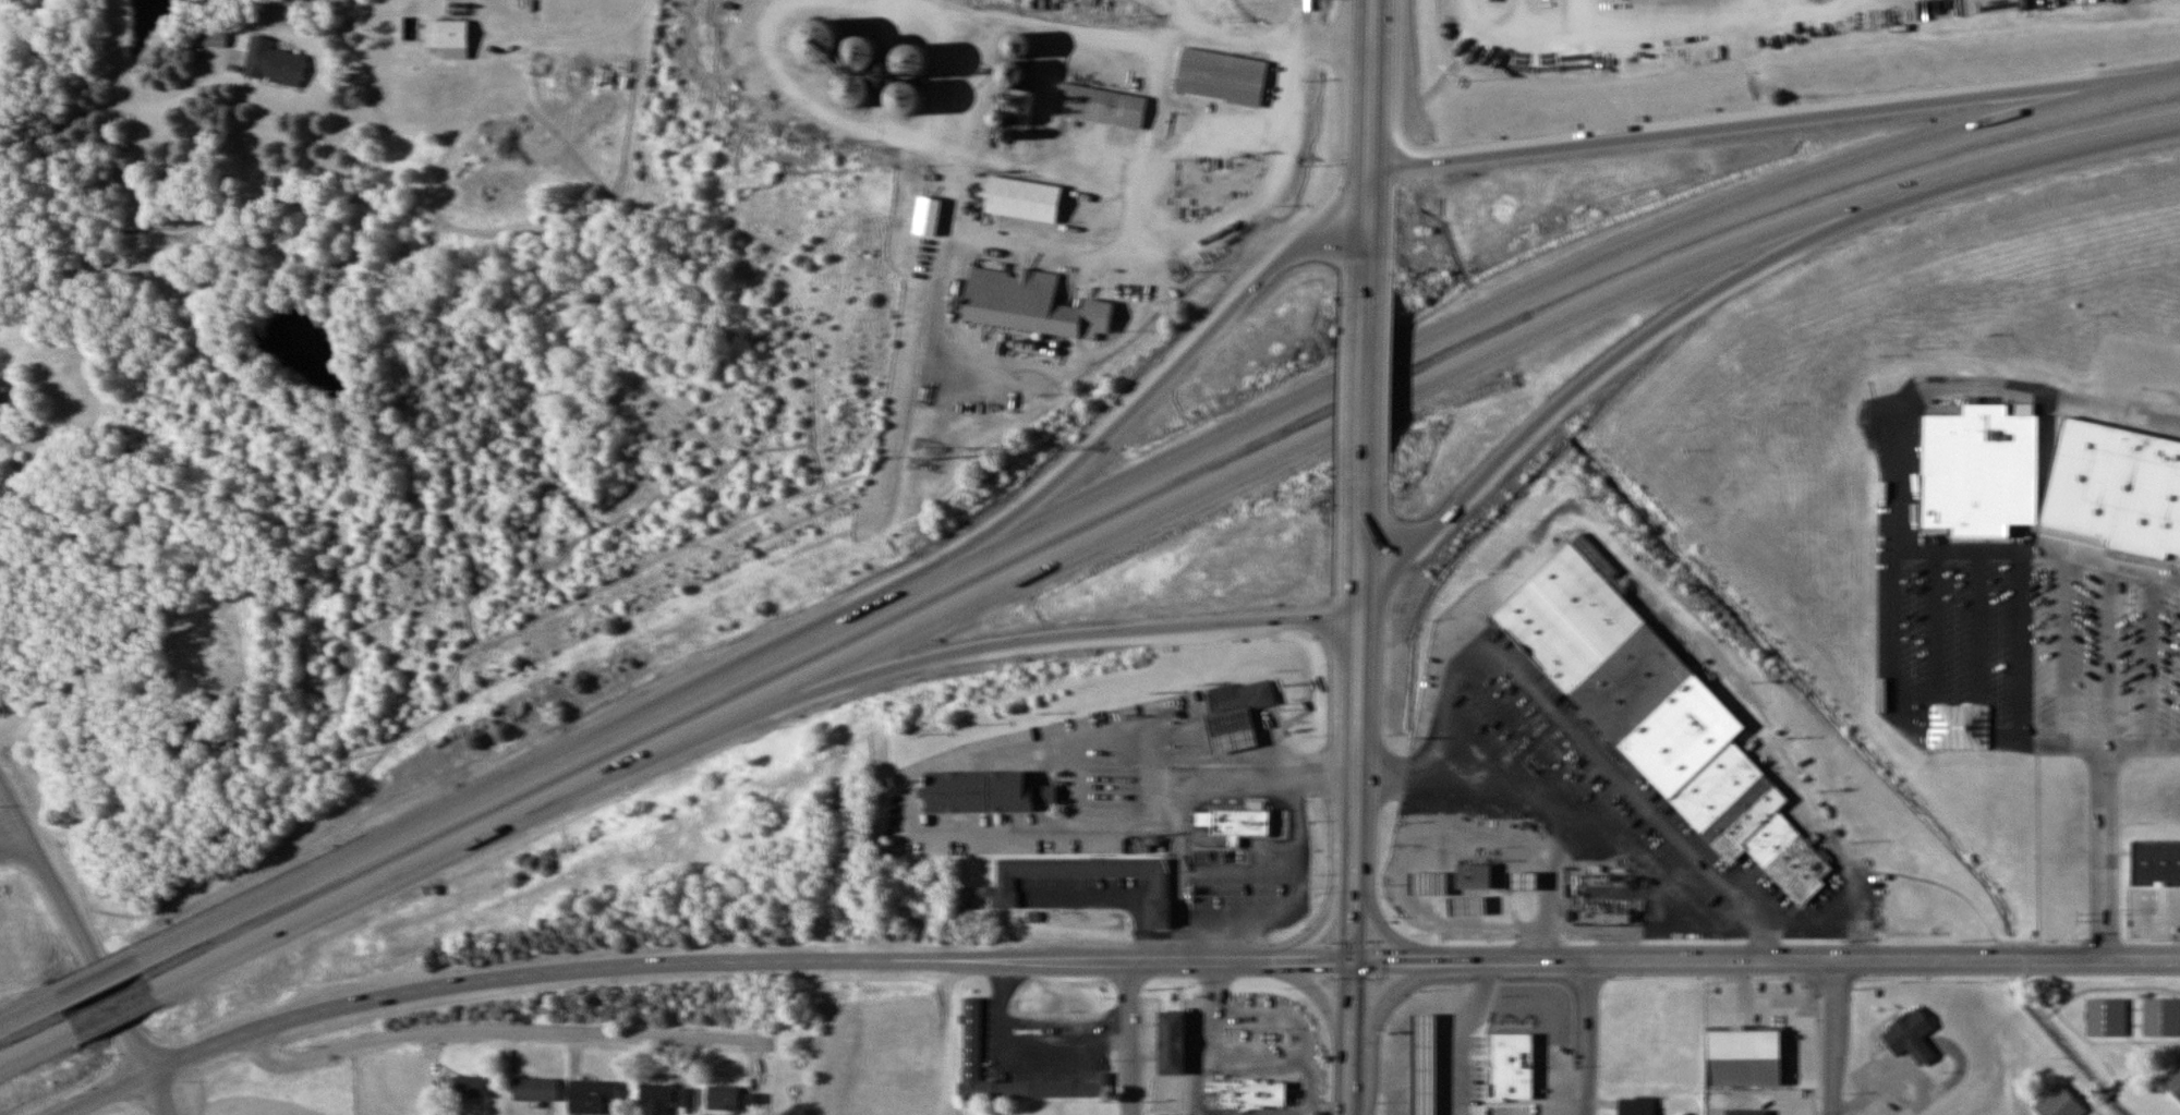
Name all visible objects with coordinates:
building: (824, 34)
silo: (824, 34)
building: (216, 39)
building: (447, 39)
road: (605, 44)
building: (870, 48)
silo: (870, 48)
building: (916, 52)
silo: (916, 52)
building: (1015, 61)
building: (272, 64)
building: (1221, 69)
road: (2151, 77)
building: (857, 82)
silo: (857, 82)
road: (1368, 86)
building: (904, 92)
silo: (904, 92)
building: (1100, 97)
road: (125, 102)
road: (1744, 128)
road: (2045, 152)
building: (1022, 190)
road: (1365, 218)
building: (1029, 305)
road: (1622, 356)
road: (1362, 374)
road: (1123, 417)
building: (1981, 469)
road: (1117, 488)
building: (2115, 489)
road: (1898, 523)
road: (2039, 547)
road: (1028, 570)
road: (1022, 642)
road: (1935, 642)
road: (1976, 643)
road: (2020, 644)
parking lot: (2026, 645)
road: (2066, 647)
road: (2152, 658)
road: (1354, 682)
building: (1239, 698)
gas station: (1239, 698)
building: (1660, 714)
building: (1236, 732)
road: (2143, 747)
road: (2107, 760)
building: (980, 791)
building: (1245, 823)
road: (11, 839)
building: (2156, 862)
building: (1477, 877)
building: (1530, 883)
building: (1008, 885)
building: (1434, 885)
parking lot: (1082, 892)
road: (1114, 896)
building: (1474, 907)
road: (1318, 926)
road: (1382, 931)
road: (90, 952)
road: (1352, 958)
road: (1056, 960)
road: (1311, 962)
traffic signals: (1352, 962)
road: (1391, 962)
road: (1805, 963)
road: (101, 980)
road: (493, 980)
road: (1394, 984)
road: (1318, 991)
road: (120, 1006)
road: (32, 1014)
building: (2109, 1017)
building: (2164, 1019)
building: (1528, 1022)
road: (1357, 1026)
road: (481, 1034)
building: (970, 1034)
building: (1912, 1037)
road: (1128, 1039)
road: (1832, 1039)
road: (1587, 1040)
building: (1172, 1043)
road: (40, 1044)
building: (1636, 1049)
building: (1745, 1057)
building: (1429, 1066)
road: (1348, 1076)
building: (2173, 1081)
building: (470, 1087)
building: (534, 1089)
road: (107, 1090)
building: (1249, 1093)
building: (592, 1096)
building: (667, 1099)
building: (732, 1101)
building: (2059, 1103)
building: (1780, 1105)
building: (1546, 1108)
building: (1632, 1108)

